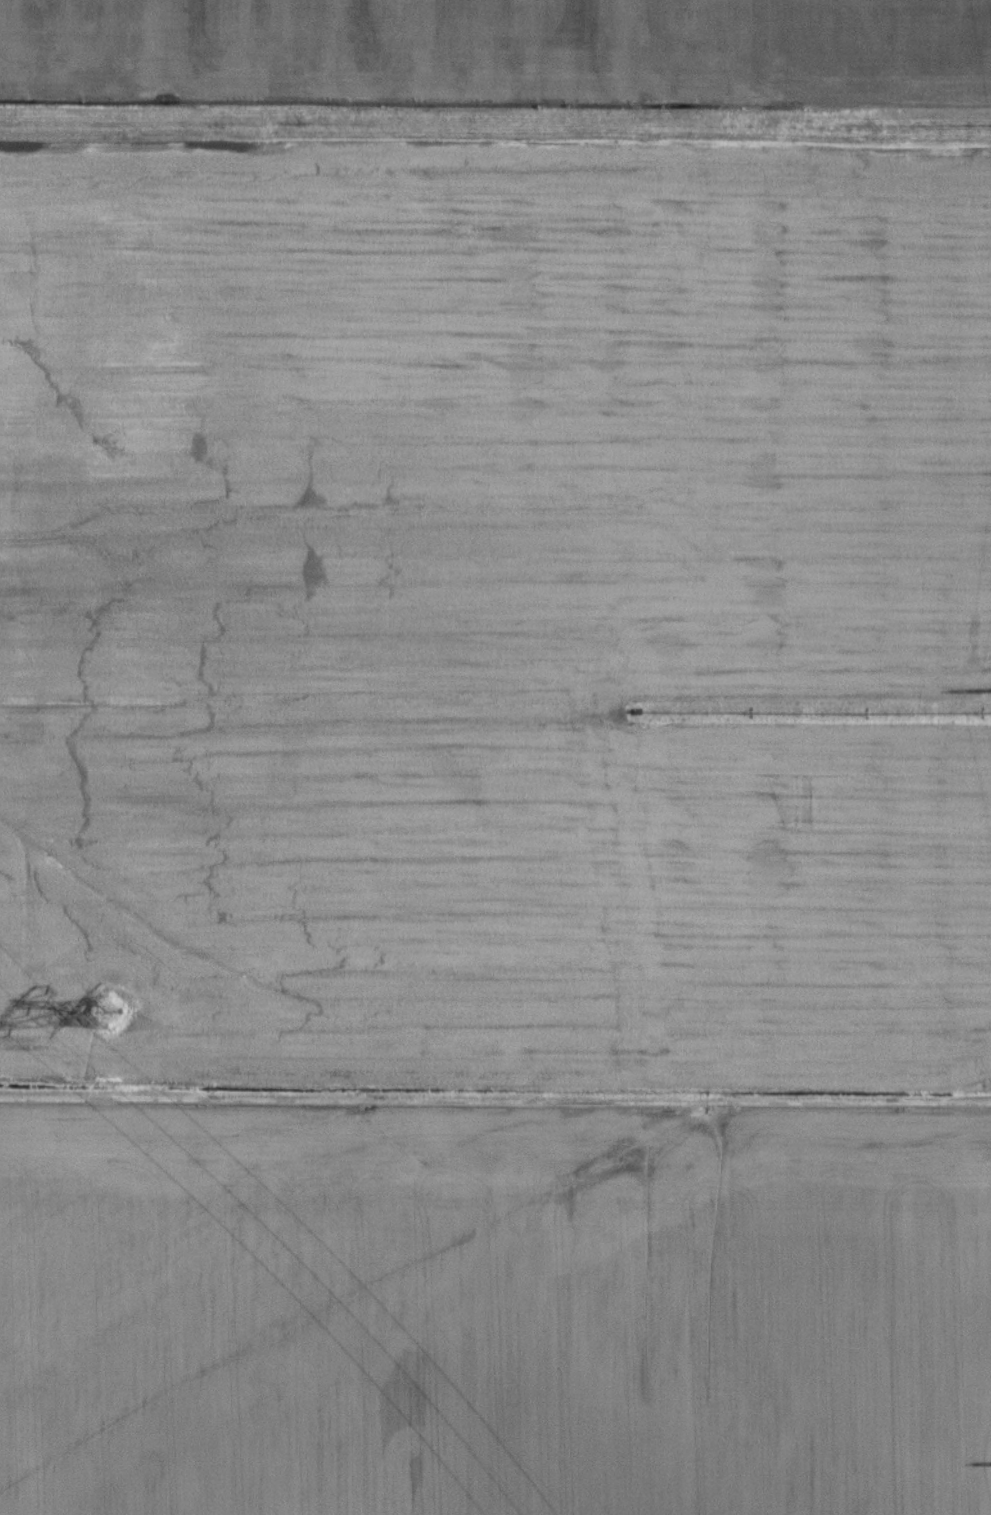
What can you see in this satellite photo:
road: (495, 142)
power tower: (115, 1018)
road: (495, 1104)

